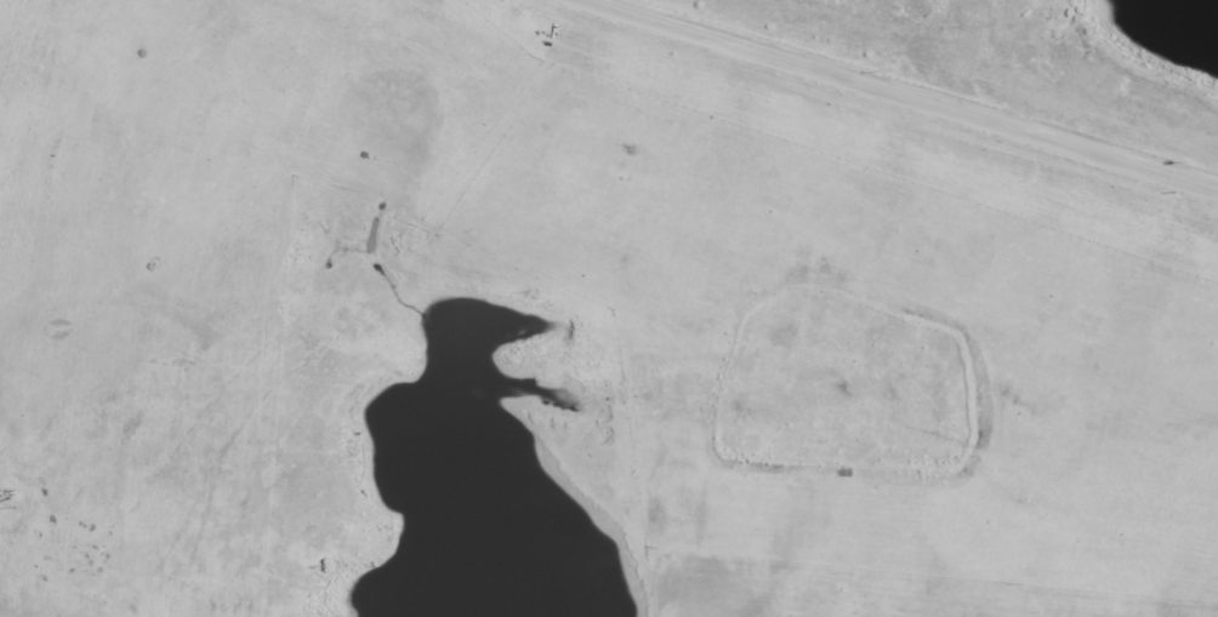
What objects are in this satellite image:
road: (911, 91)
road: (778, 330)

